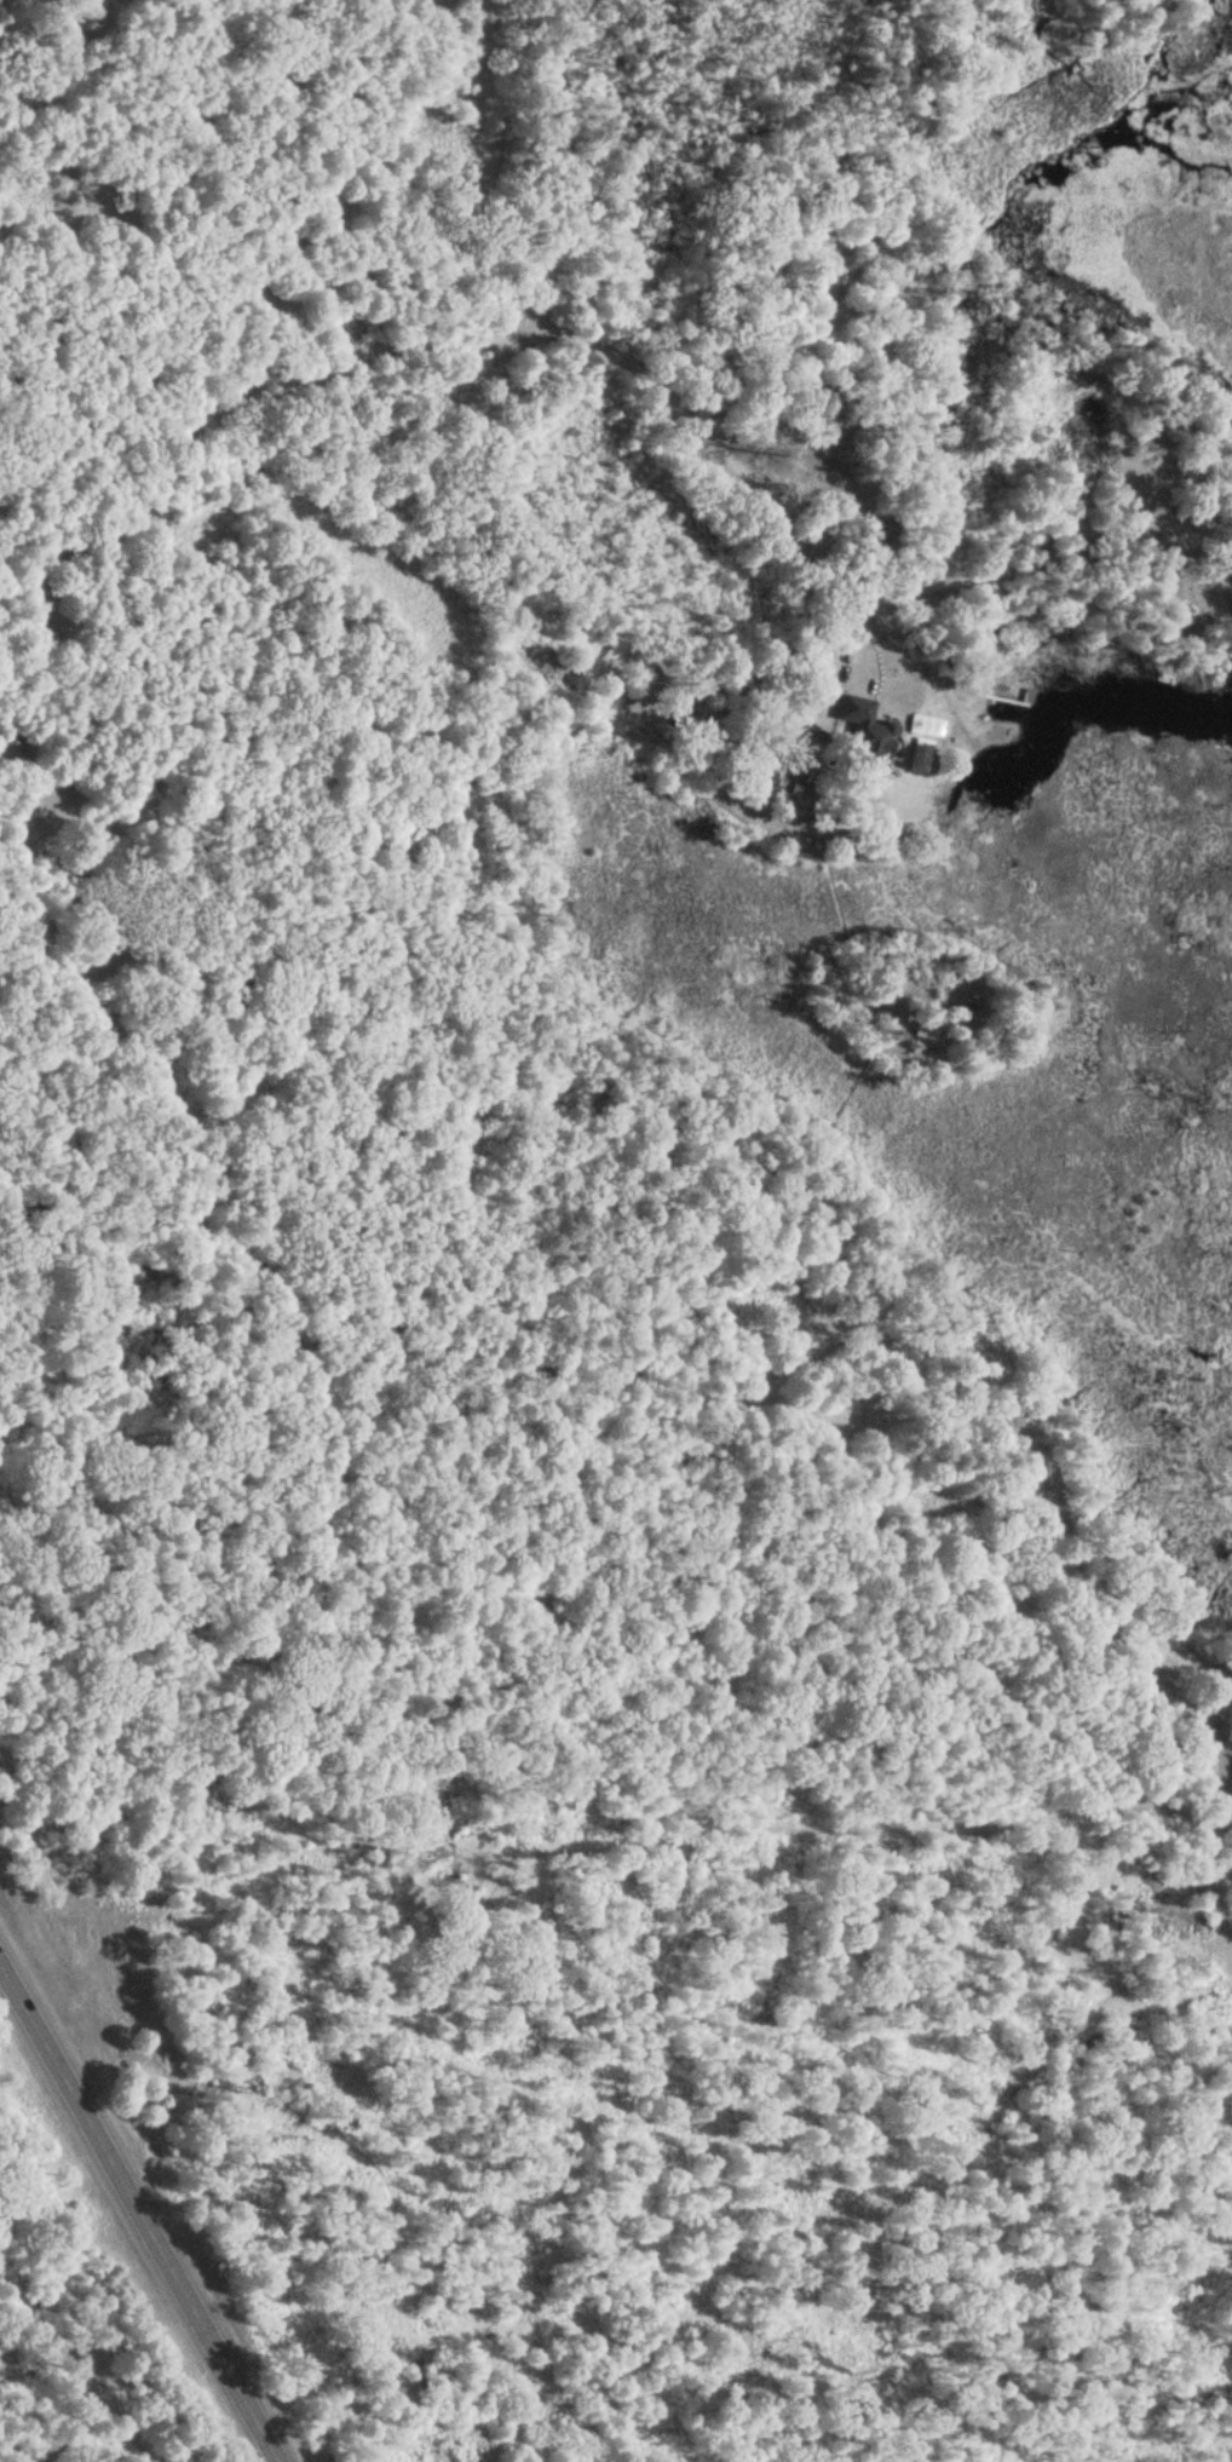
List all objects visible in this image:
road: (462, 338)
building: (865, 731)
road: (143, 2208)

